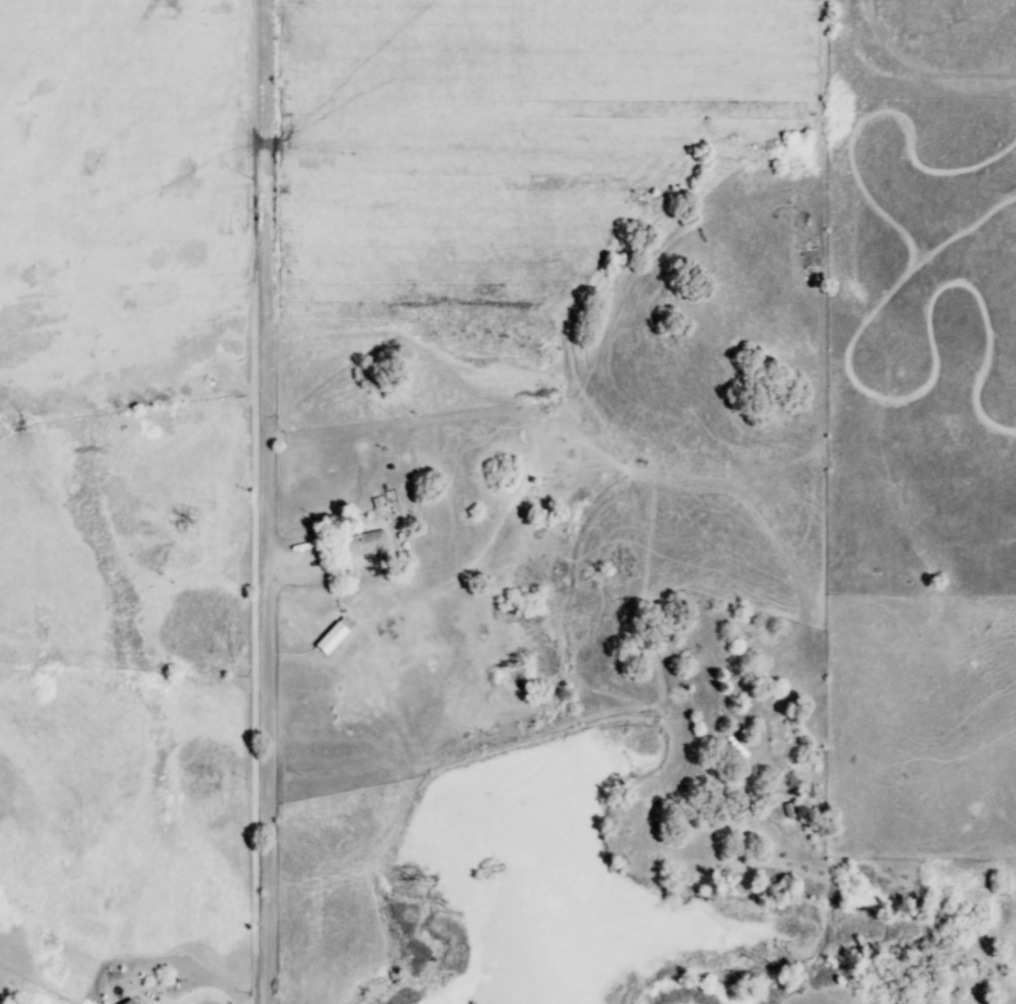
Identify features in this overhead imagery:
building: (364, 544)
building: (333, 635)
road: (268, 782)
building: (129, 1002)

